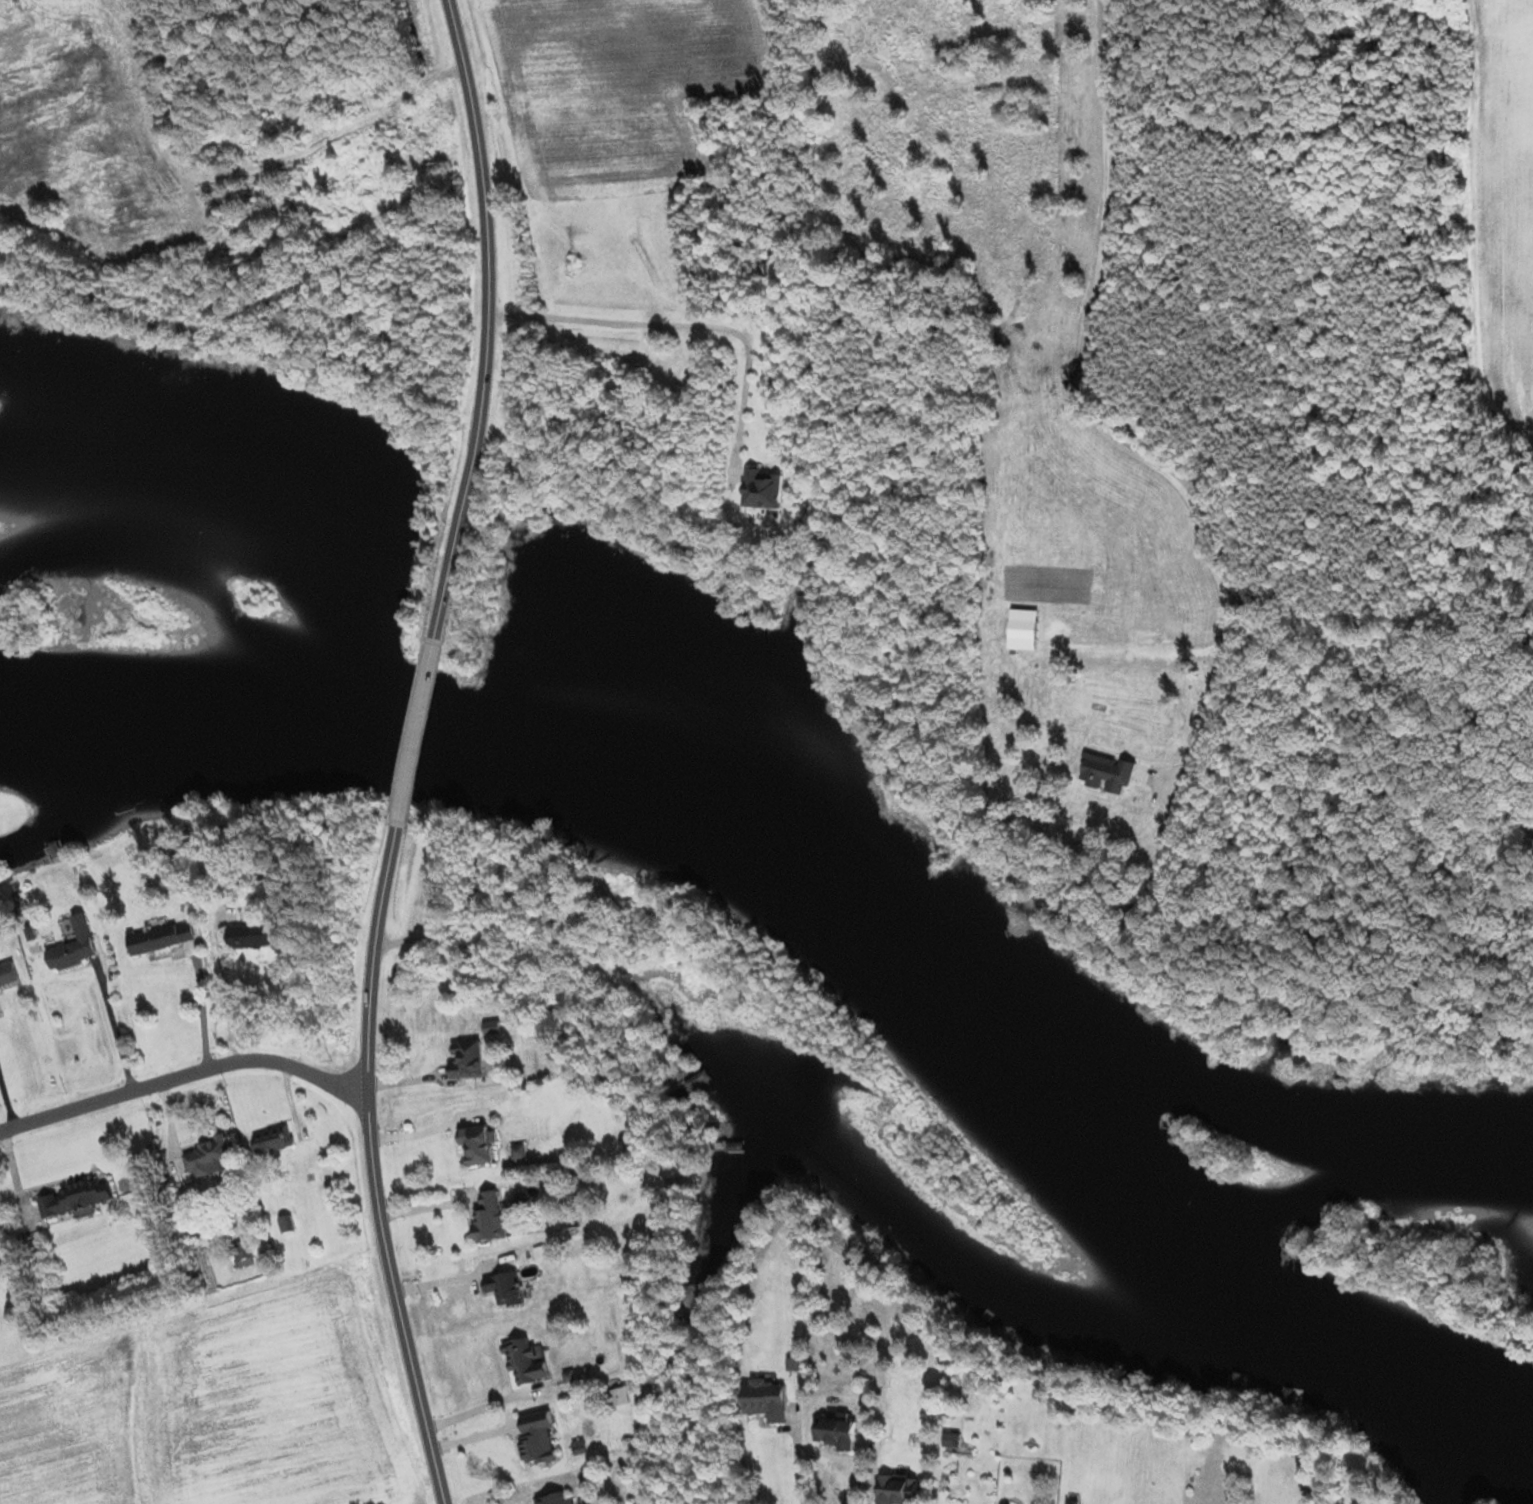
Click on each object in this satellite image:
road: (486, 319)
building: (762, 489)
river: (62, 727)
road: (415, 734)
building: (249, 937)
building: (159, 939)
river: (885, 946)
building: (73, 948)
building: (7, 976)
building: (464, 1061)
road: (183, 1077)
building: (692, 1082)
building: (272, 1141)
building: (476, 1146)
building: (735, 1148)
building: (208, 1158)
road: (370, 1169)
building: (74, 1198)
building: (489, 1220)
building: (285, 1225)
building: (242, 1255)
building: (504, 1290)
building: (524, 1363)
building: (766, 1400)
building: (835, 1432)
building: (536, 1438)
building: (896, 1489)
building: (554, 1499)

